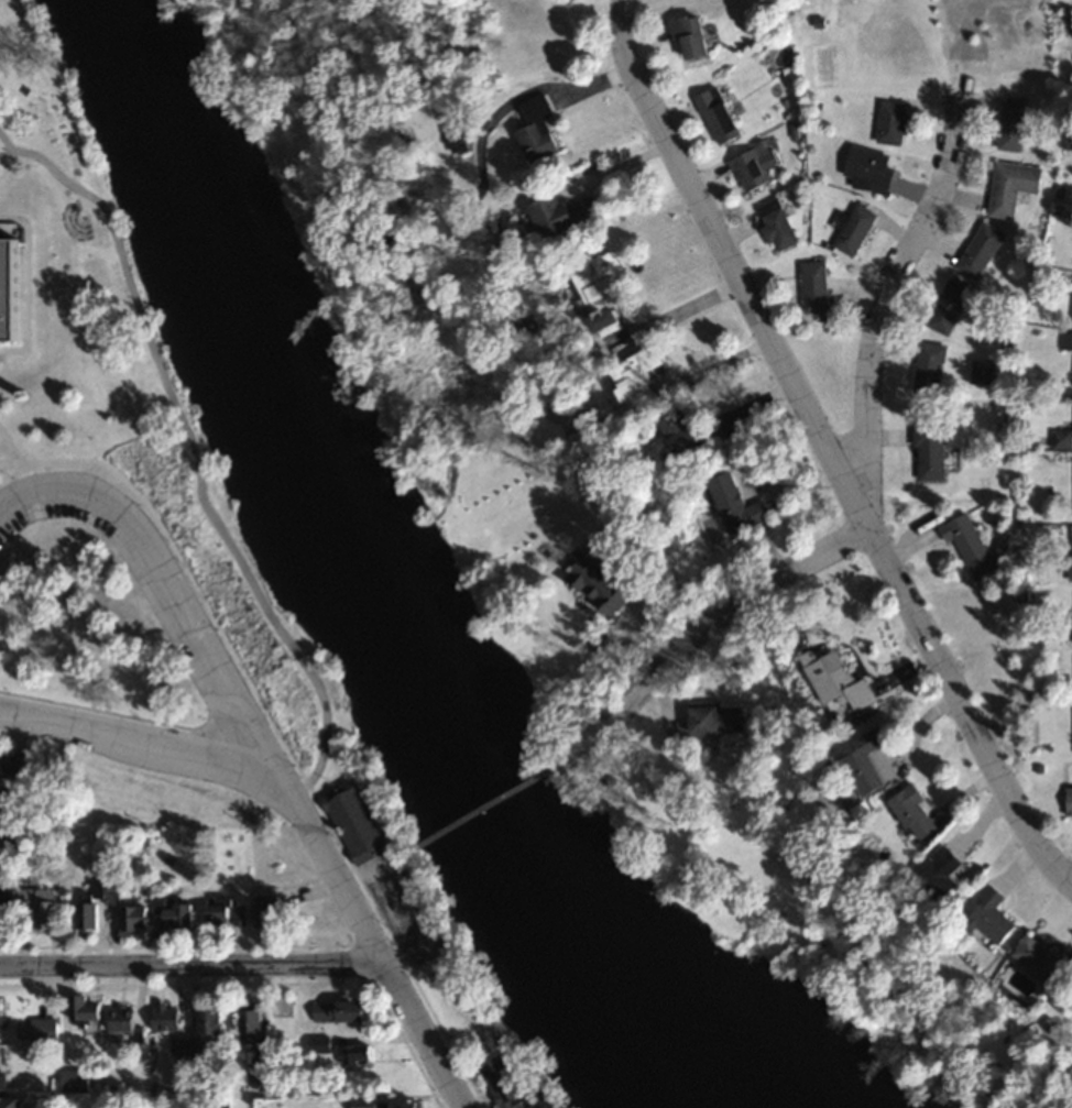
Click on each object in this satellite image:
building: (693, 34)
park: (22, 39)
building: (720, 114)
building: (893, 121)
building: (1010, 124)
building: (544, 129)
building: (459, 138)
building: (871, 168)
building: (751, 169)
building: (1011, 185)
building: (570, 213)
building: (778, 222)
building: (854, 228)
building: (980, 249)
building: (818, 286)
building: (17, 288)
building: (602, 296)
road: (884, 301)
building: (949, 305)
building: (1066, 339)
road: (717, 363)
building: (929, 366)
building: (644, 377)
building: (689, 431)
road: (828, 449)
road: (196, 451)
building: (929, 451)
building: (740, 501)
building: (965, 538)
building: (1071, 550)
road: (169, 578)
building: (598, 579)
river: (351, 581)
road: (729, 608)
building: (1070, 632)
building: (842, 679)
building: (717, 716)
road: (136, 739)
road: (586, 747)
building: (872, 760)
building: (14, 764)
building: (1069, 801)
road: (483, 808)
building: (917, 811)
building: (2, 813)
building: (354, 820)
road: (376, 867)
building: (944, 870)
park: (400, 896)
building: (100, 903)
building: (41, 907)
building: (269, 910)
building: (3, 911)
building: (178, 912)
building: (226, 912)
building: (995, 915)
building: (136, 920)
road: (370, 935)
building: (1048, 957)
road: (193, 964)
building: (87, 1008)
building: (342, 1009)
building: (3, 1010)
building: (167, 1016)
building: (124, 1017)
building: (212, 1021)
building: (253, 1021)
building: (43, 1028)
building: (319, 1043)
building: (357, 1051)
building: (2, 1052)
building: (260, 1069)
building: (506, 1082)
building: (9, 1096)
building: (389, 1101)

